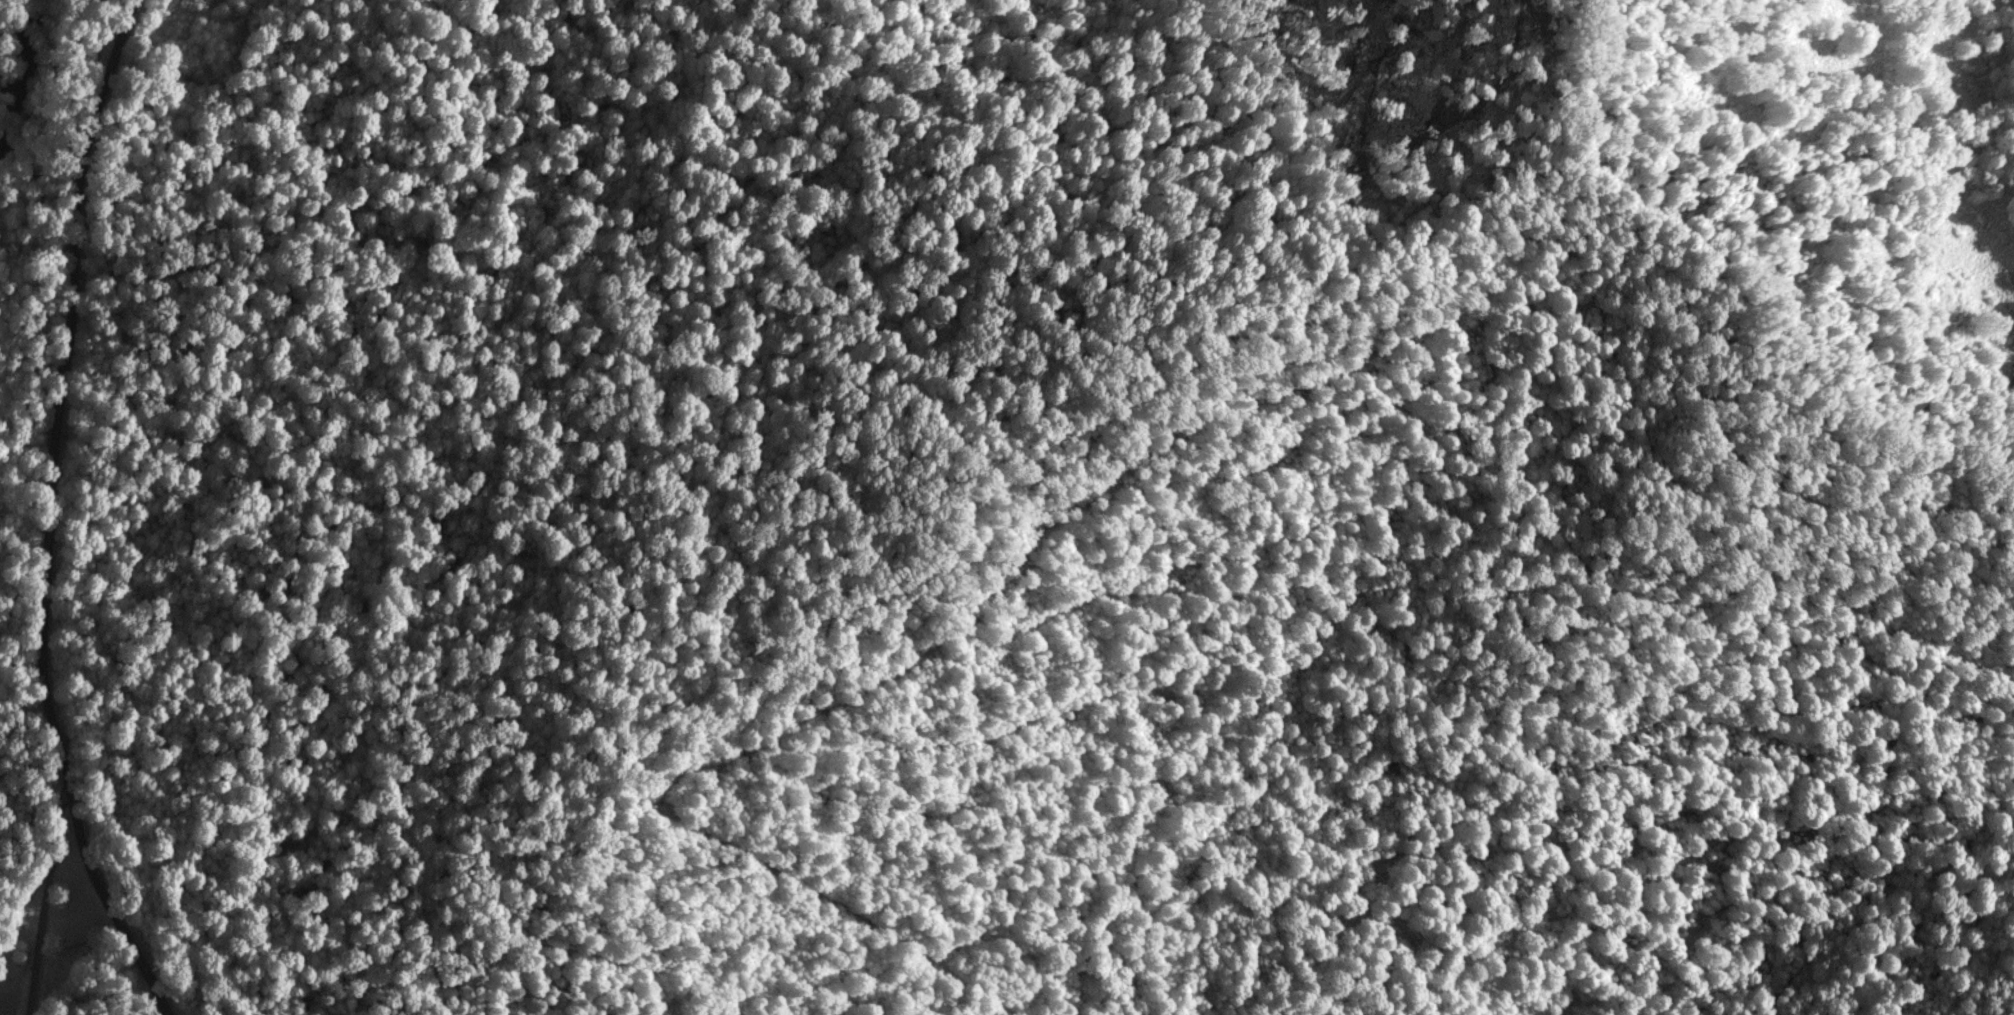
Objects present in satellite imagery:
road: (114, 34)
road: (43, 510)
road: (23, 896)

